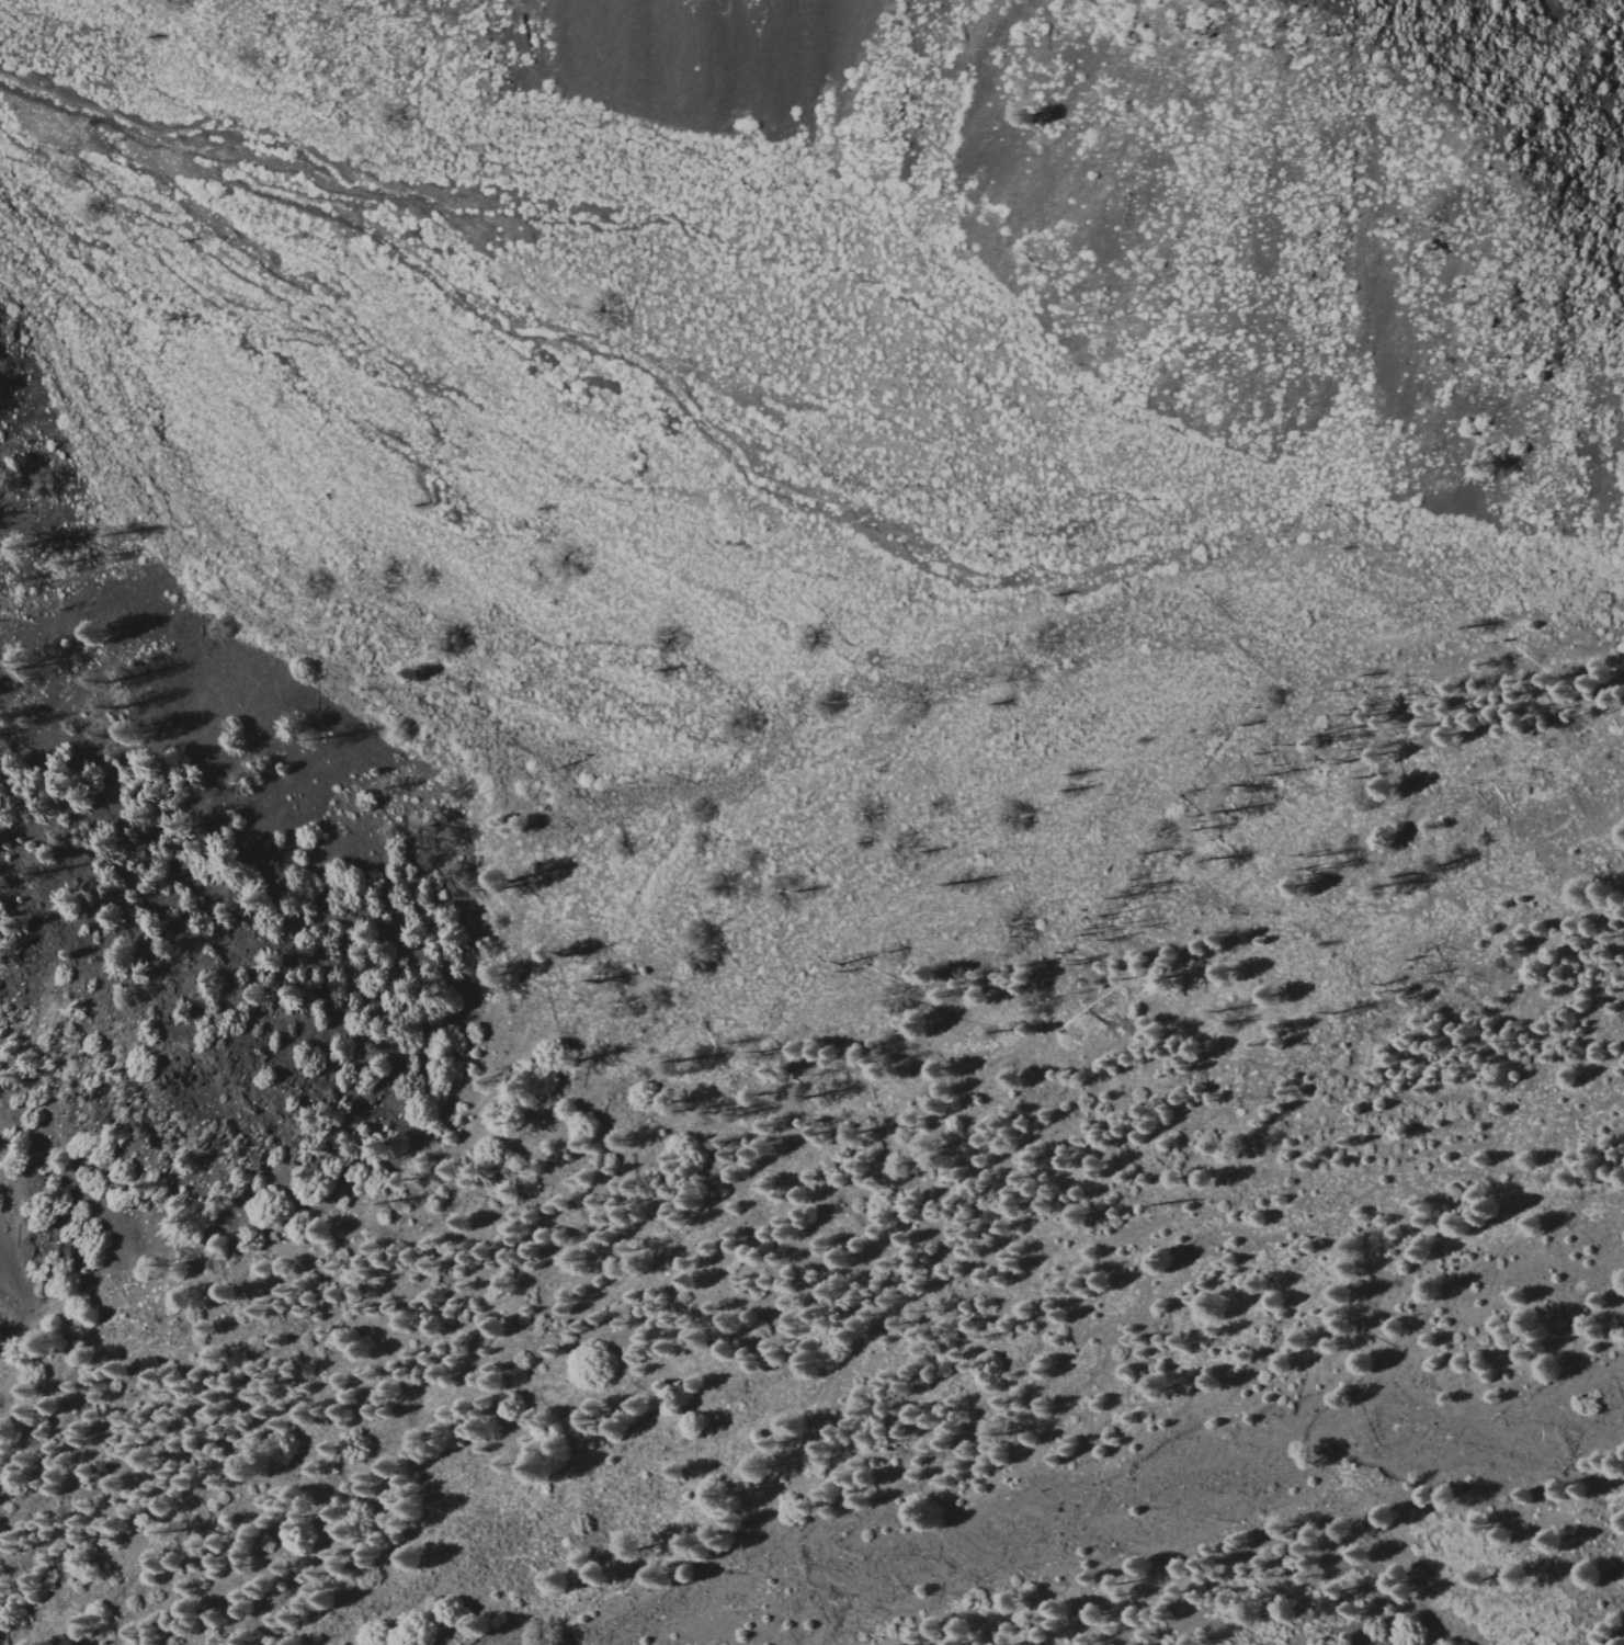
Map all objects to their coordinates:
road: (1612, 1637)

